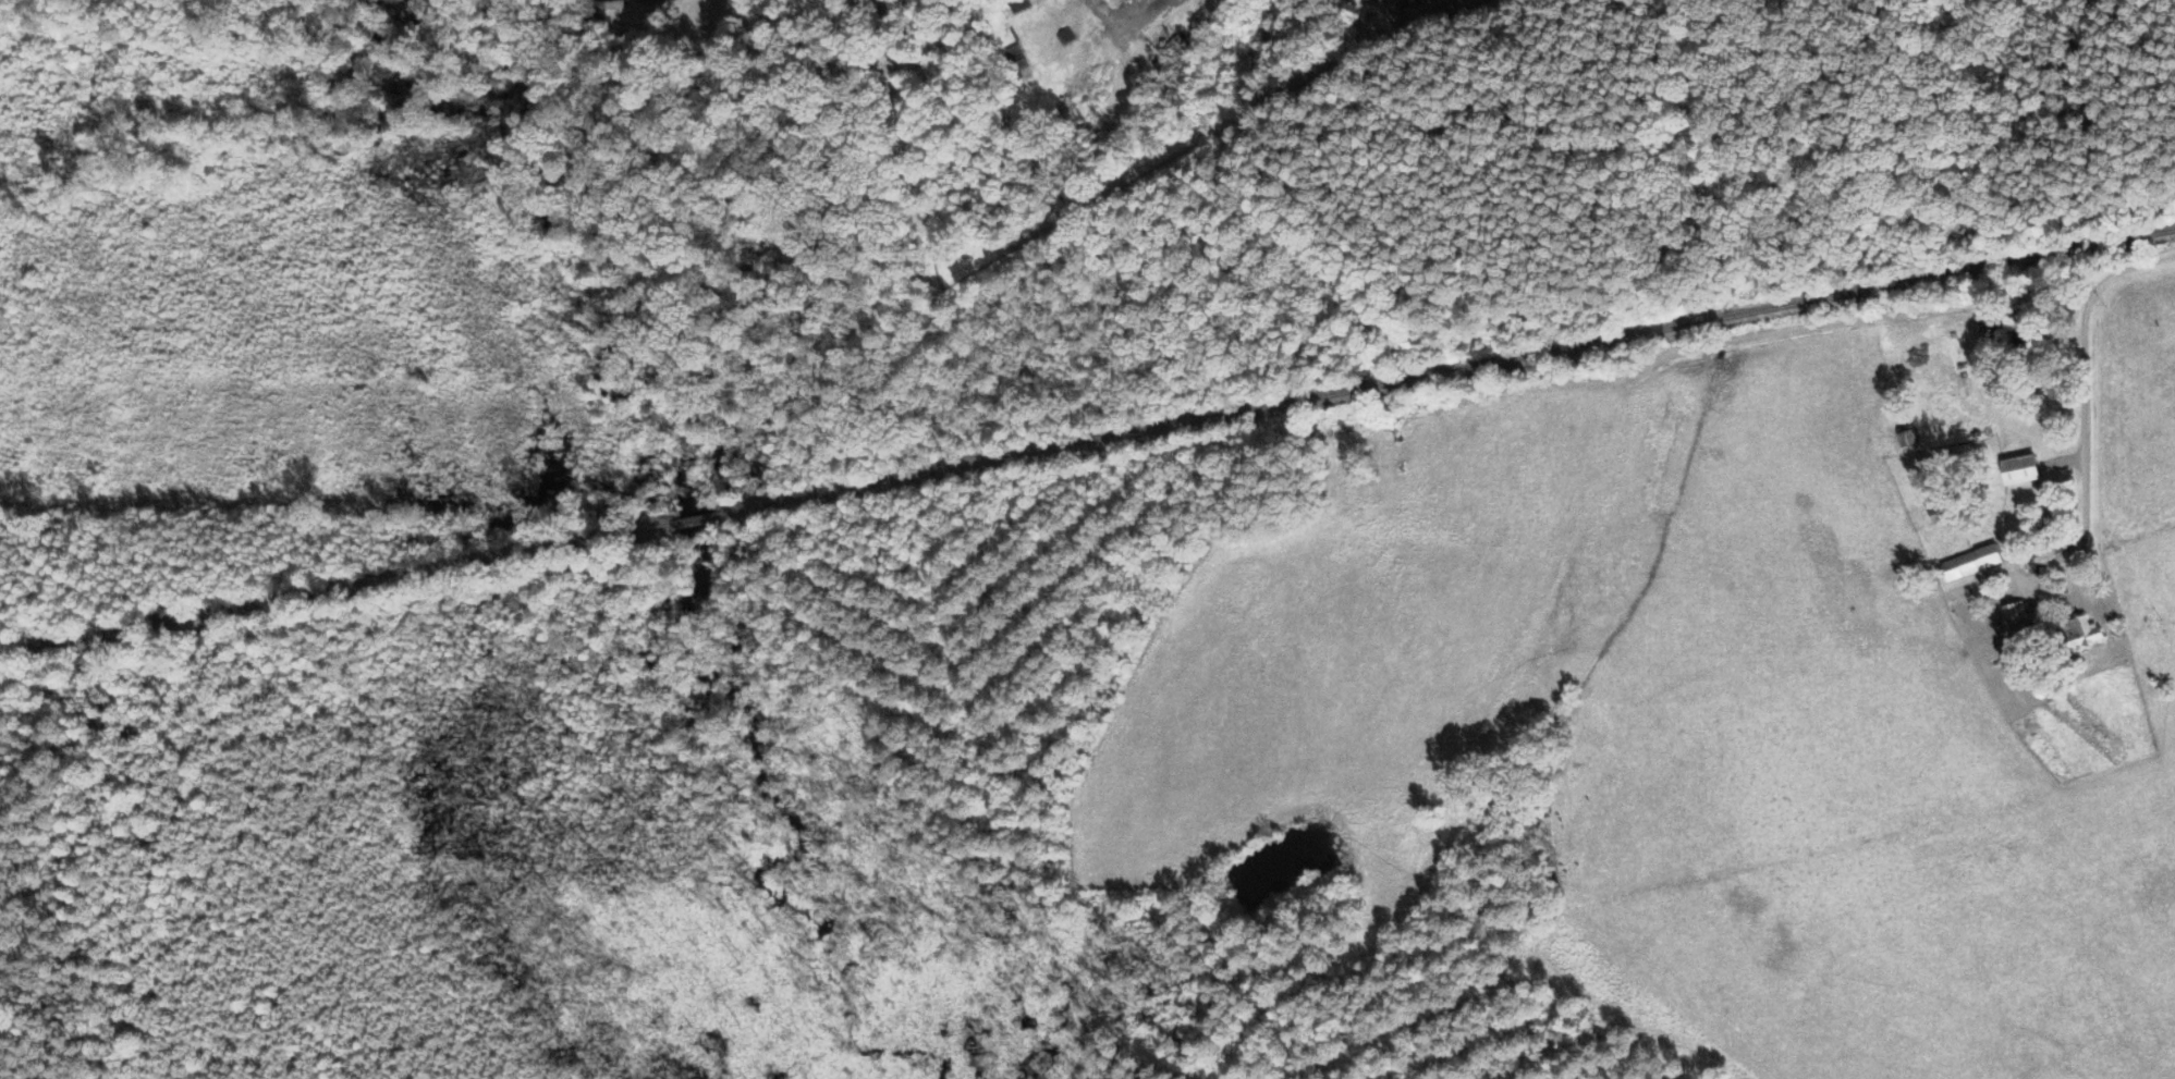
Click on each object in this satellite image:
road: (2085, 425)
railway: (1087, 442)
building: (2020, 468)
building: (1936, 507)
building: (1971, 562)
building: (2013, 612)
building: (2079, 632)

